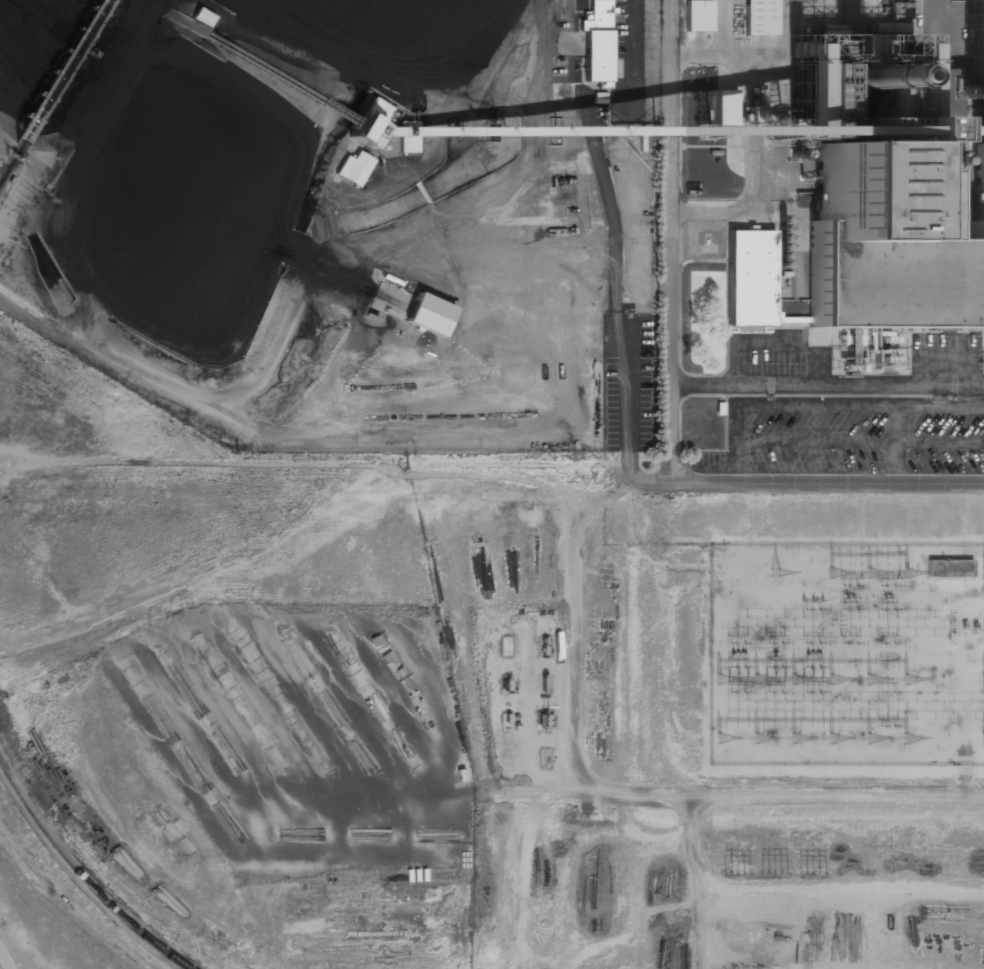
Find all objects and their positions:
building: (697, 15)
building: (202, 16)
building: (759, 17)
building: (596, 42)
chimney: (836, 77)
railway: (56, 96)
building: (354, 168)
building: (748, 278)
building: (425, 314)
power plant: (492, 484)
road: (811, 485)
building: (949, 567)
power substation: (845, 655)
railway: (78, 874)
power tower: (735, 875)
power tower: (772, 876)
power tower: (809, 876)

